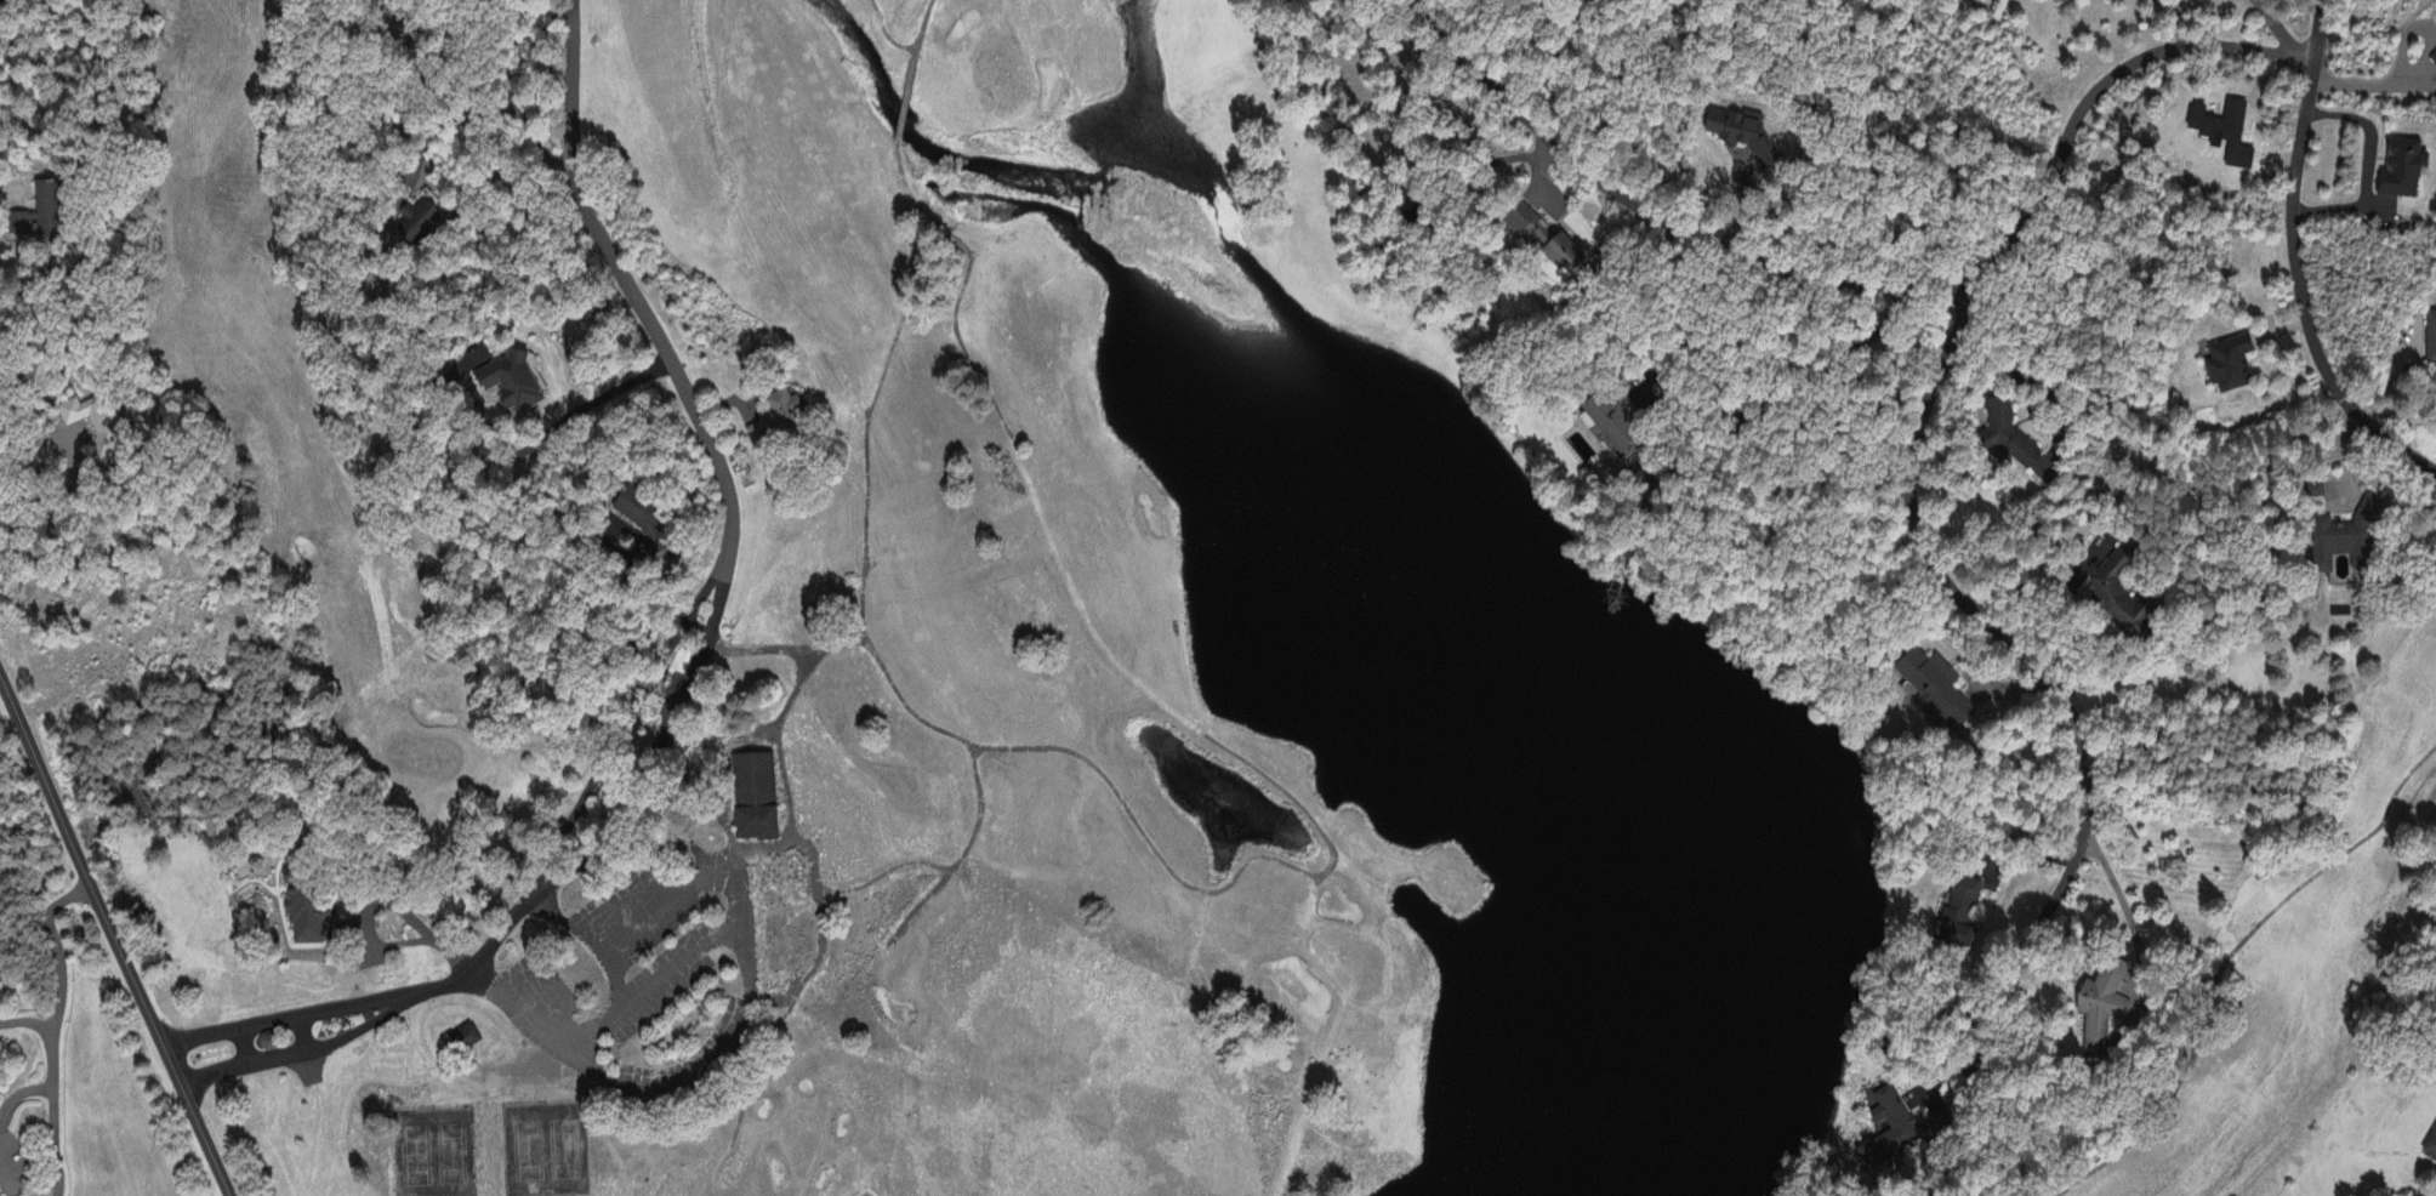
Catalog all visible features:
road: (2275, 27)
road: (2100, 91)
road: (477, 112)
road: (2366, 169)
road: (1666, 224)
road: (2293, 264)
road: (2034, 380)
road: (1792, 395)
road: (497, 456)
road: (58, 490)
road: (628, 583)
road: (2045, 585)
road: (682, 651)
road: (2049, 676)
road: (779, 724)
road: (2113, 883)
road: (689, 894)
road: (574, 928)
road: (114, 938)
road: (52, 975)
road: (620, 980)
road: (653, 980)
road: (650, 1088)
road: (19, 1097)
road: (47, 1143)
park: (546, 1150)
park: (434, 1152)
road: (2, 1173)

